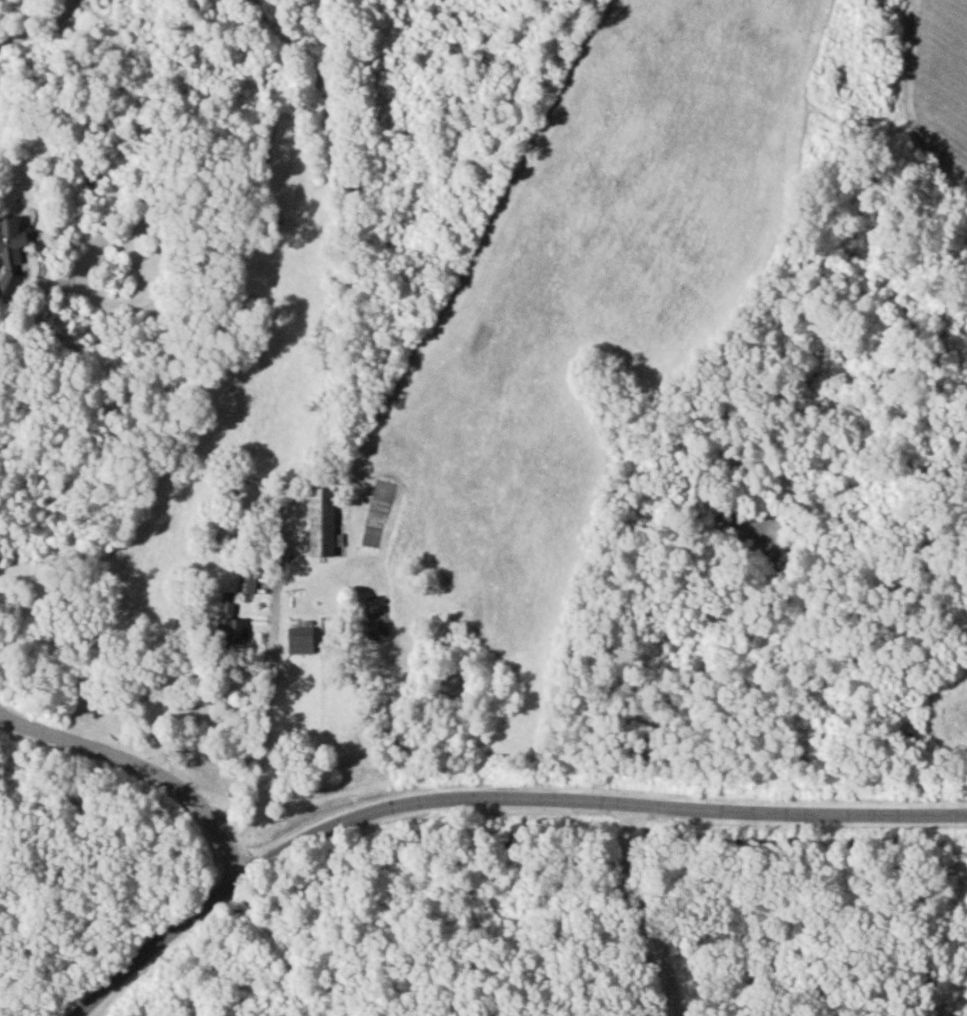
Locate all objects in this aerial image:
road: (43, 29)
building: (10, 253)
building: (322, 522)
building: (245, 582)
building: (228, 620)
building: (299, 639)
road: (259, 710)
road: (143, 765)
road: (490, 800)
road: (642, 913)

